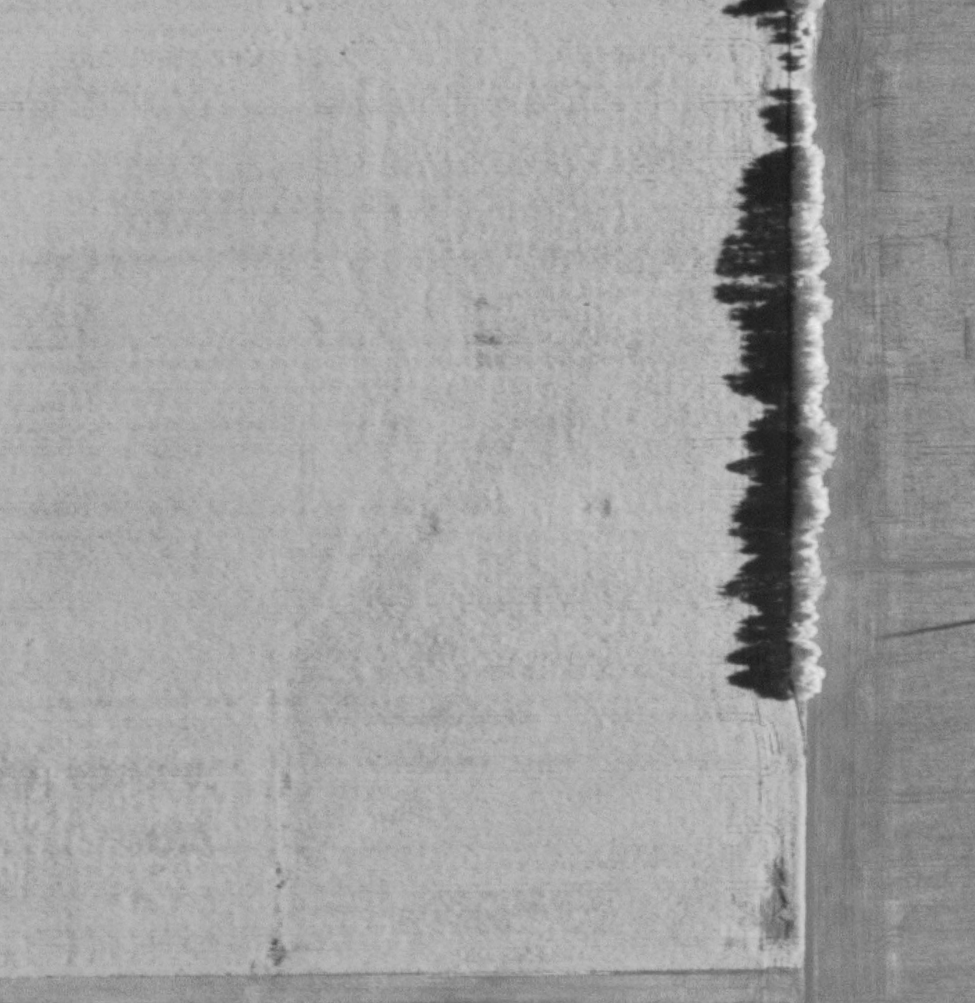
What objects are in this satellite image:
road: (801, 701)

